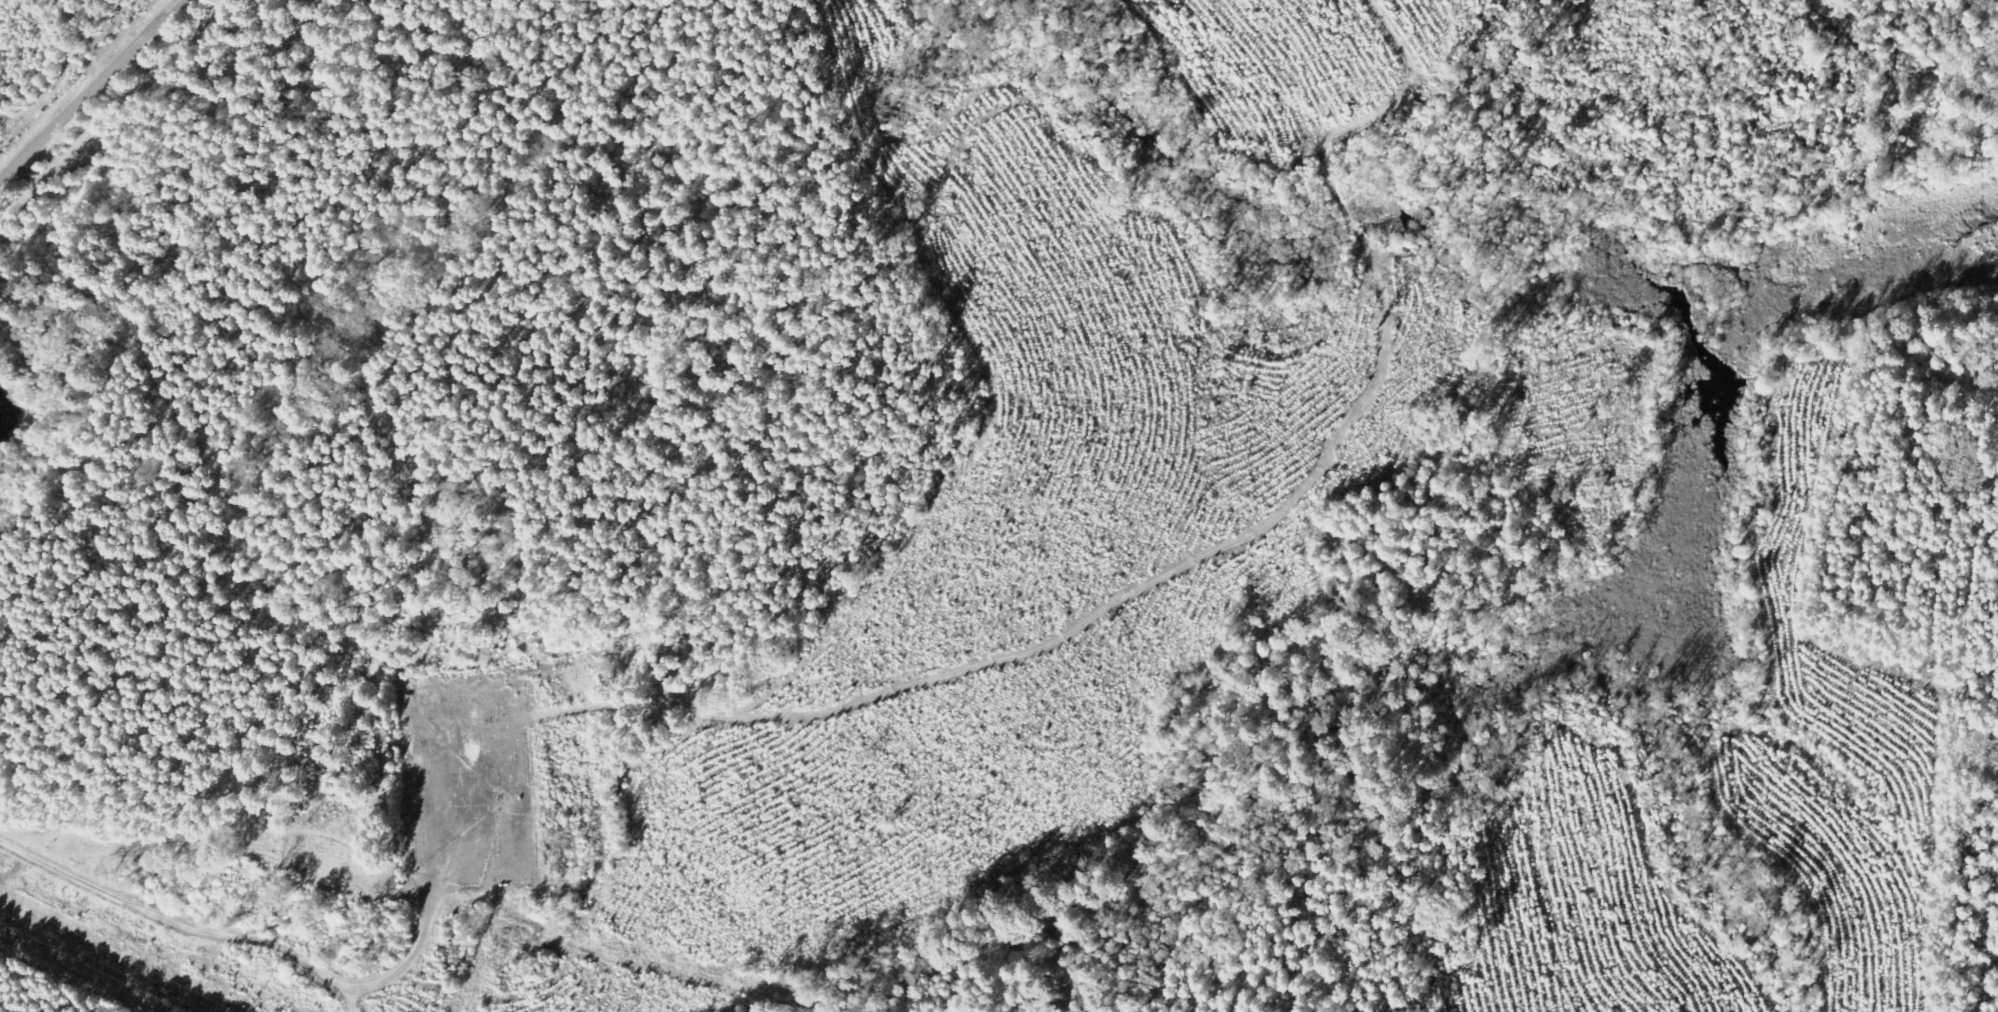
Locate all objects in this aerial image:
road: (65, 38)
road: (90, 86)
road: (293, 165)

